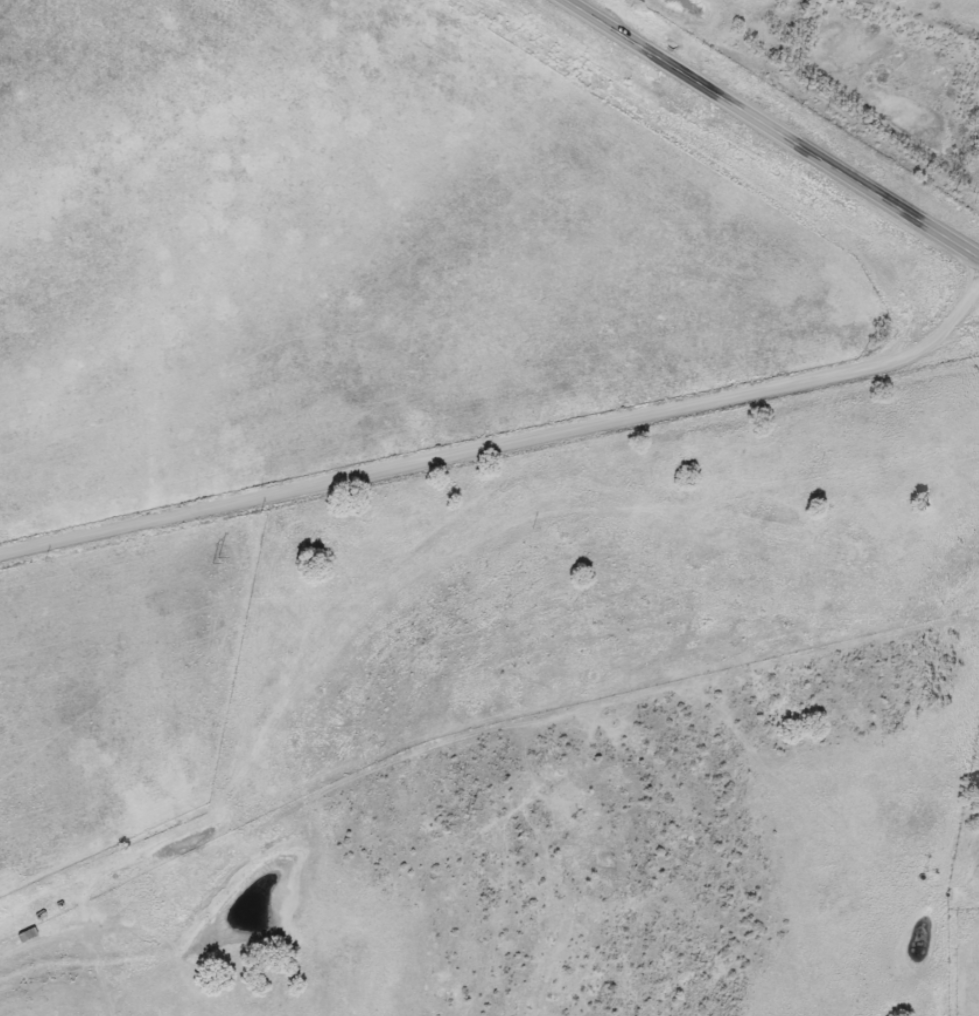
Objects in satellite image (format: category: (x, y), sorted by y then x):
road: (773, 130)
road: (508, 465)
power tower: (240, 563)
power tower: (487, 813)
road: (76, 979)

